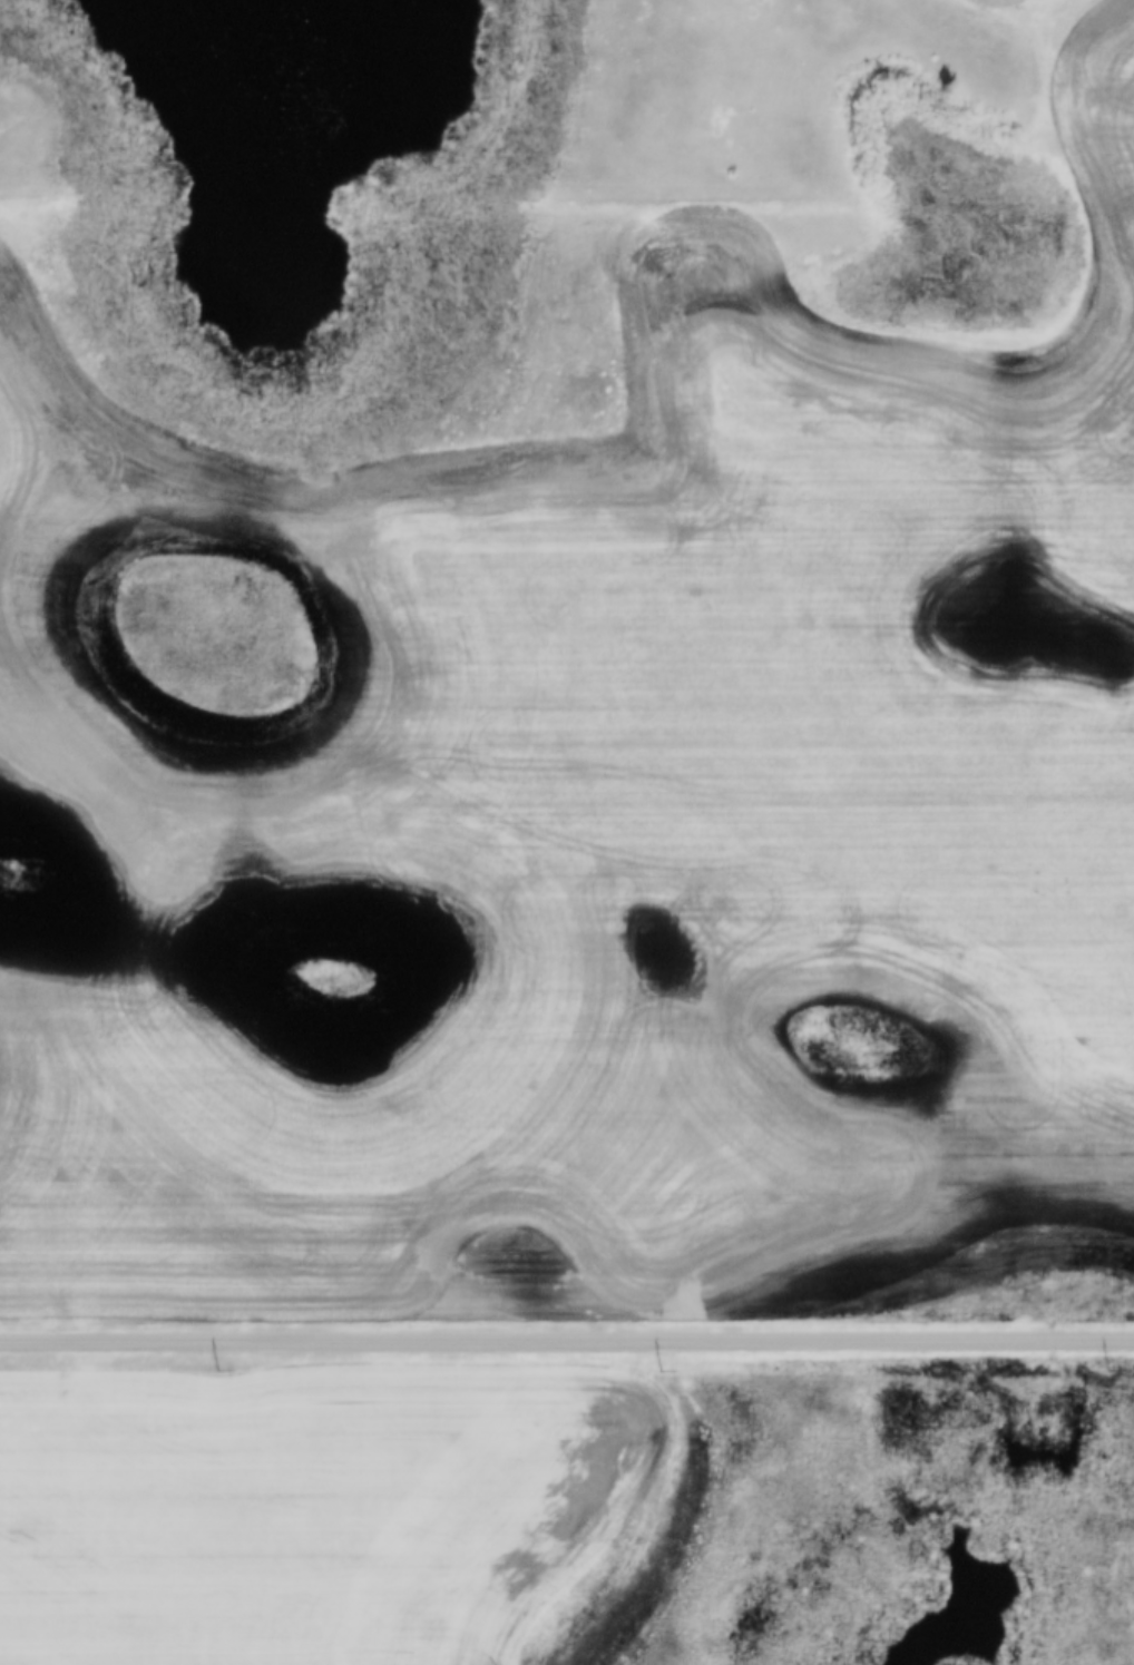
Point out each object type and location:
road: (566, 1336)
power tower: (217, 1372)
power tower: (1108, 1375)
power tower: (658, 1377)

